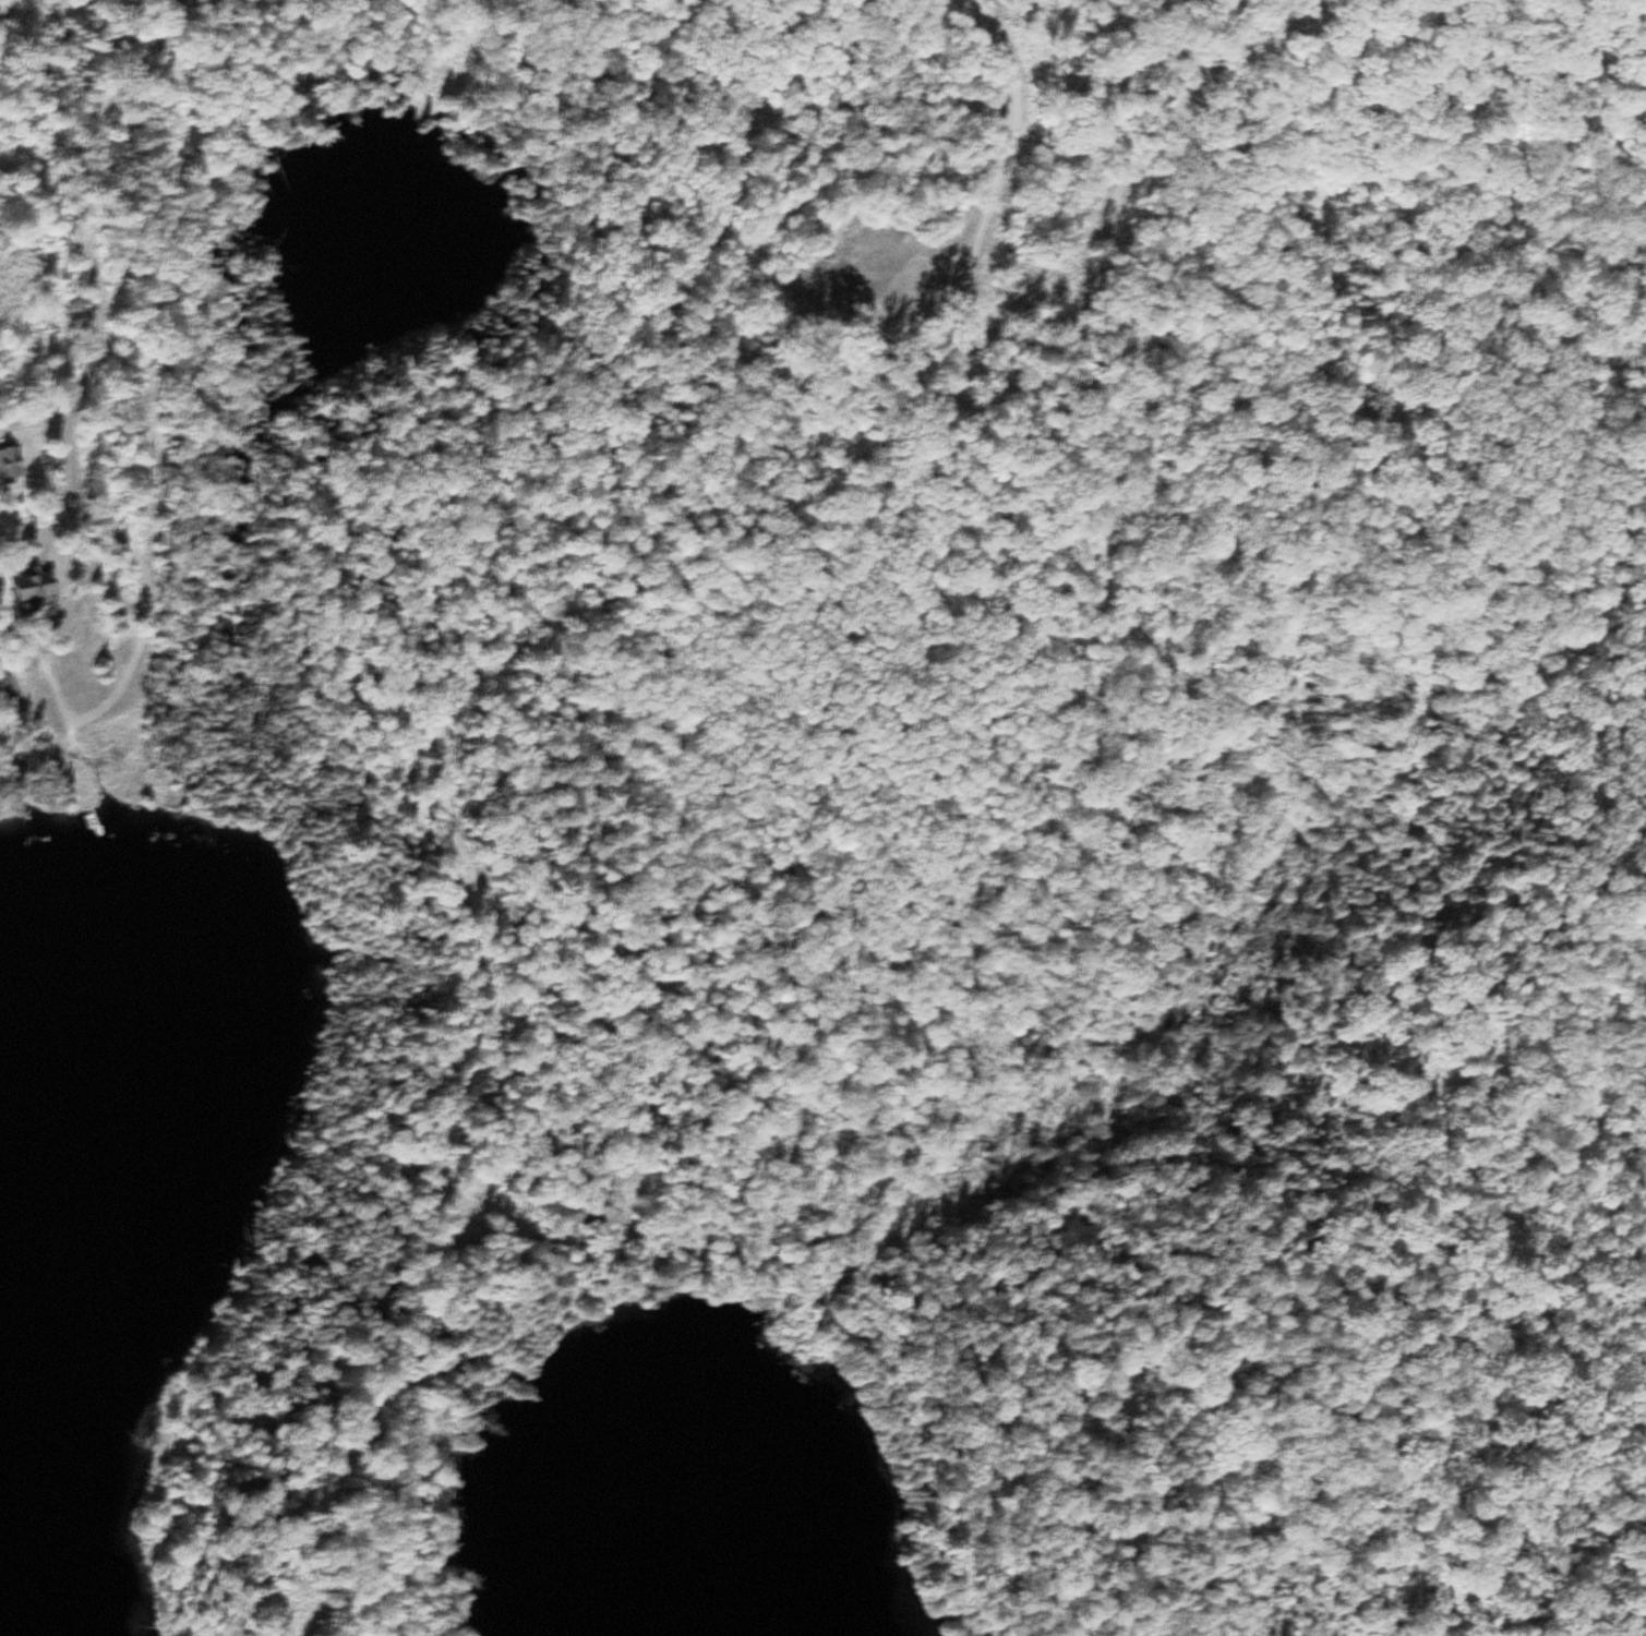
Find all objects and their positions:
road: (93, 197)
road: (36, 419)
building: (13, 464)
road: (69, 502)
road: (25, 552)
road: (640, 577)
building: (43, 591)
road: (3, 679)
building: (593, 1217)
road: (506, 1222)
road: (396, 1423)

